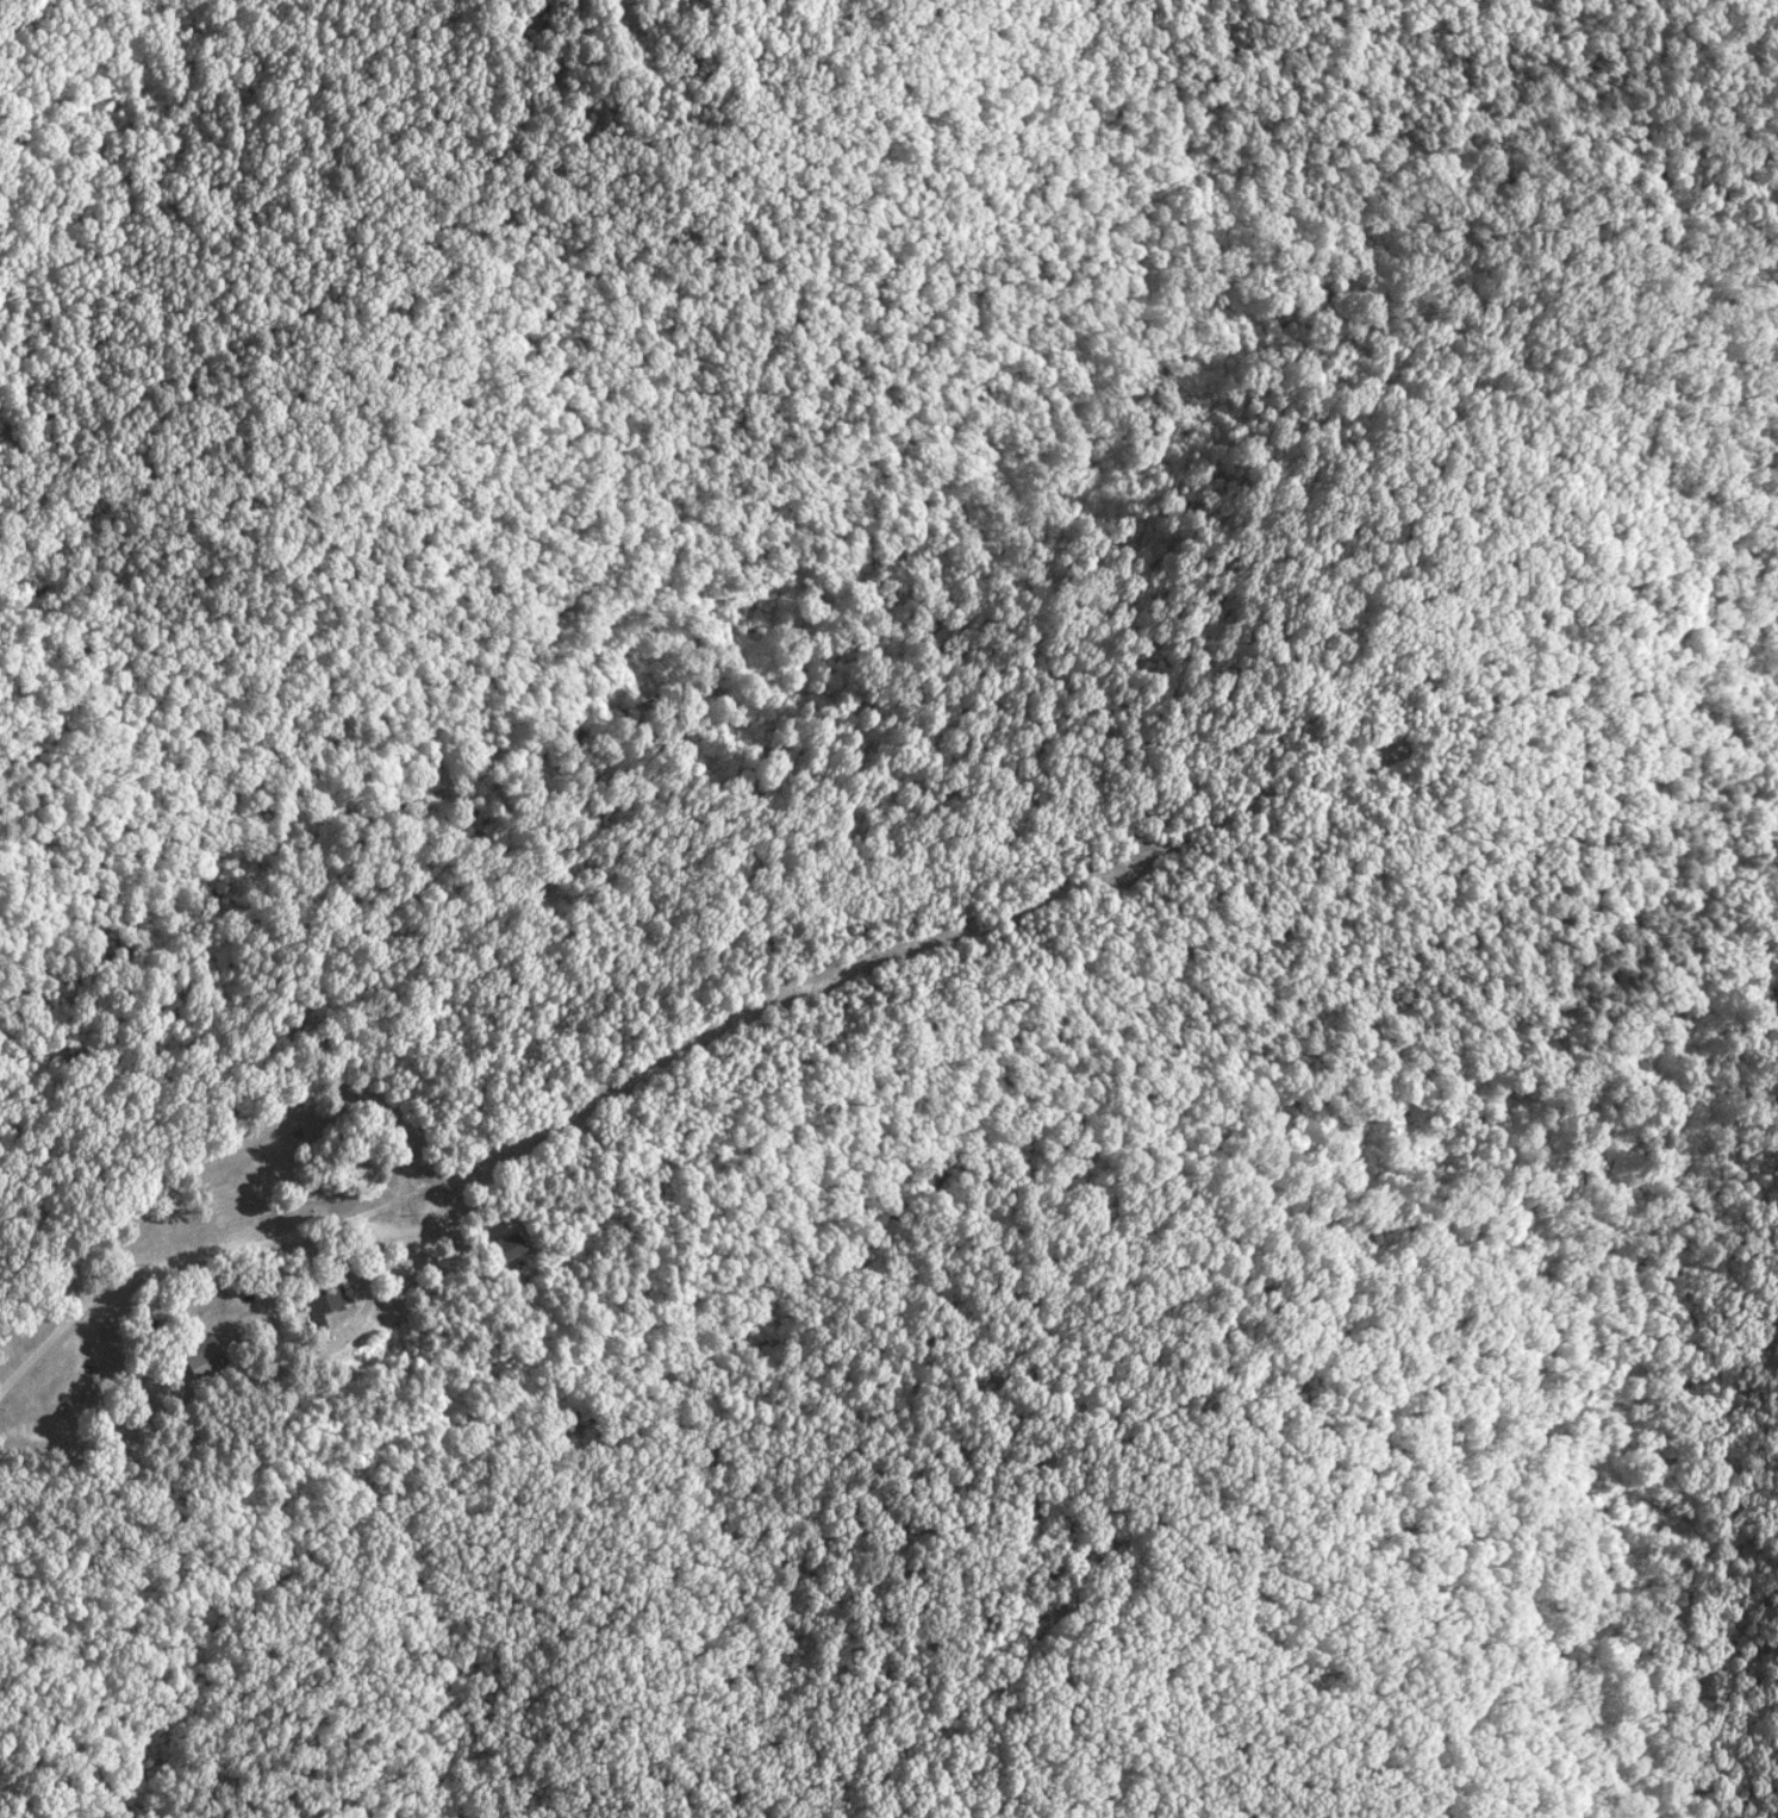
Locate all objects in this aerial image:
road: (226, 1247)
building: (505, 1250)
building: (324, 1298)

